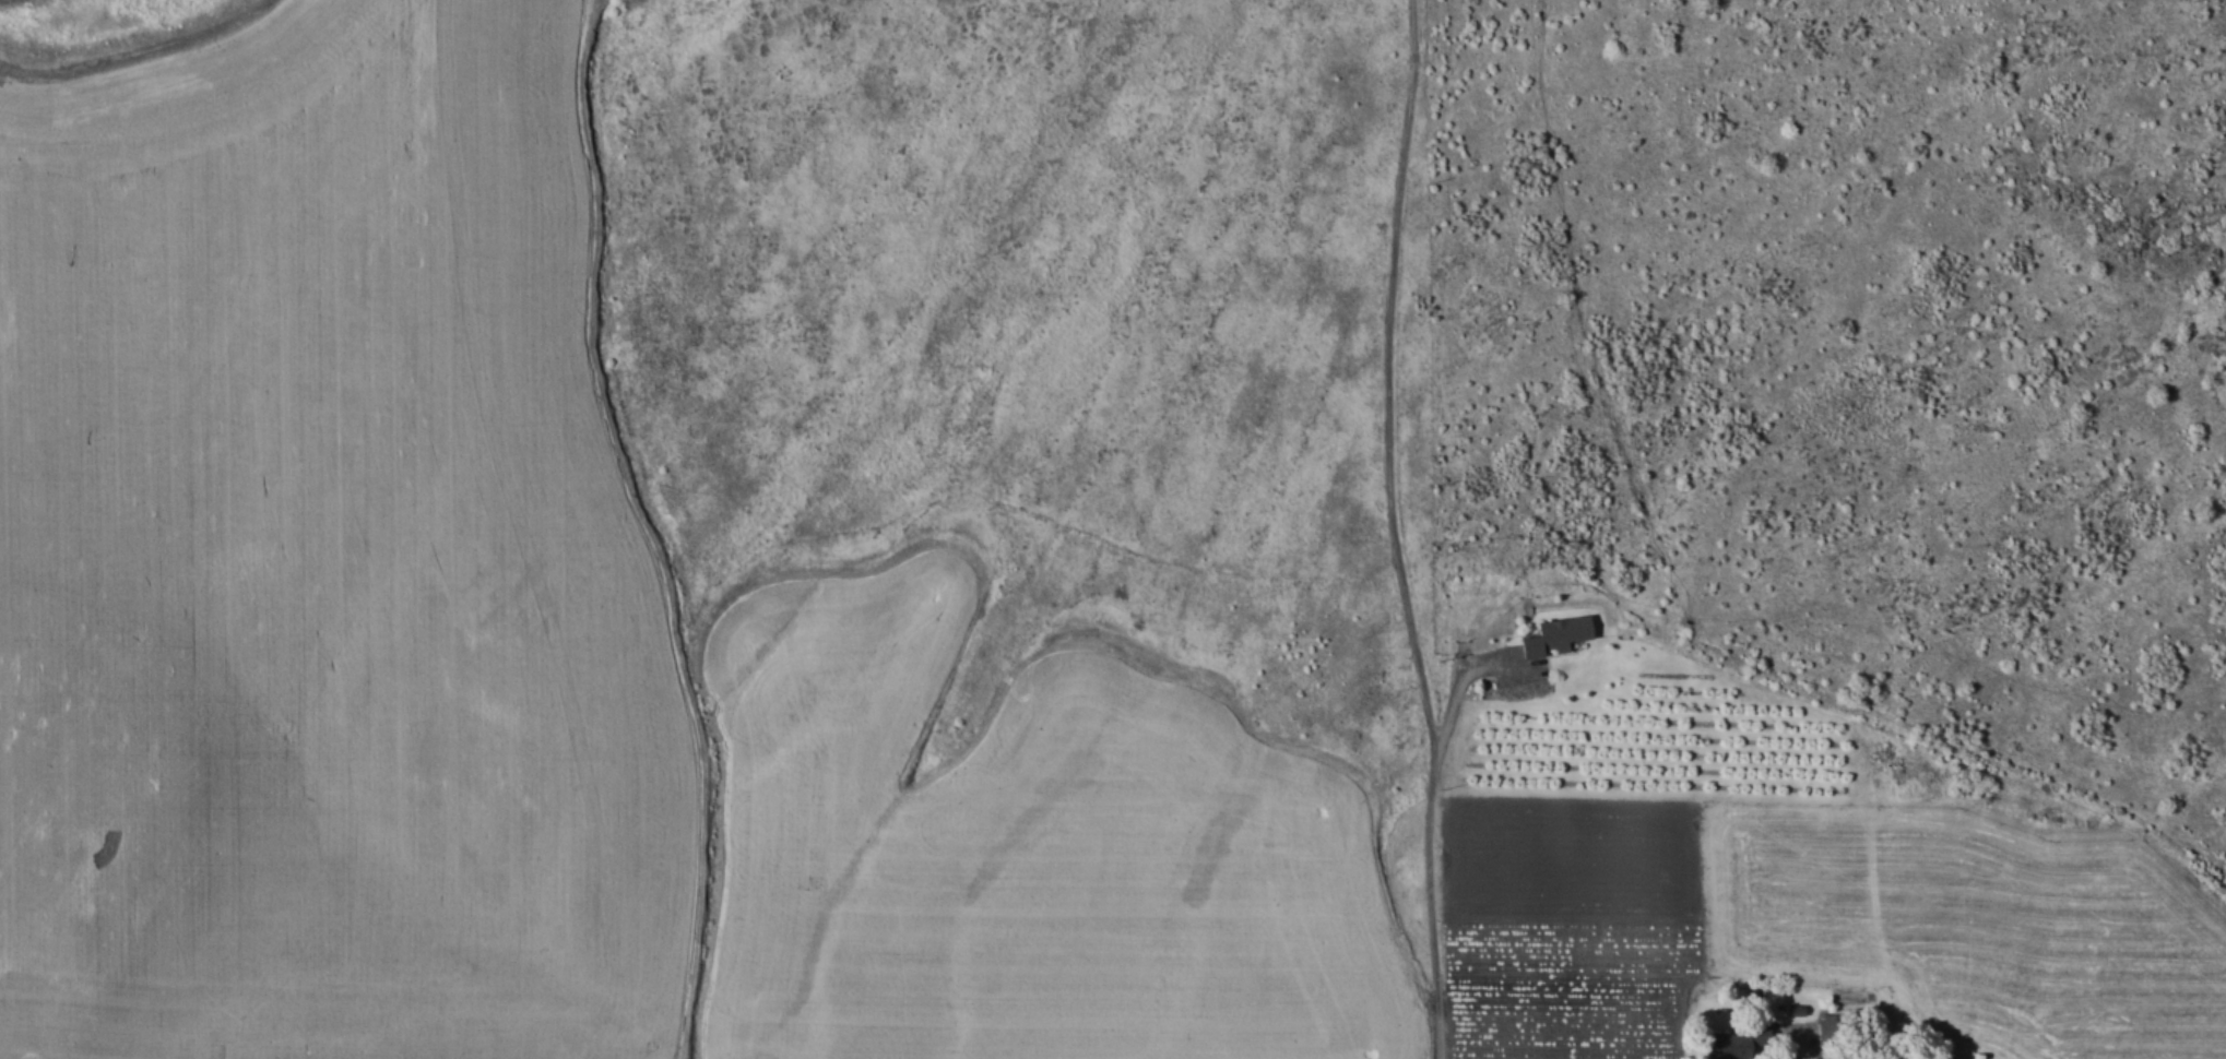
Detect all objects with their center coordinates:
road: (1400, 528)
building: (1555, 633)
crop: (1621, 909)
building: (1826, 1031)
building: (1777, 1033)
building: (1728, 1045)

